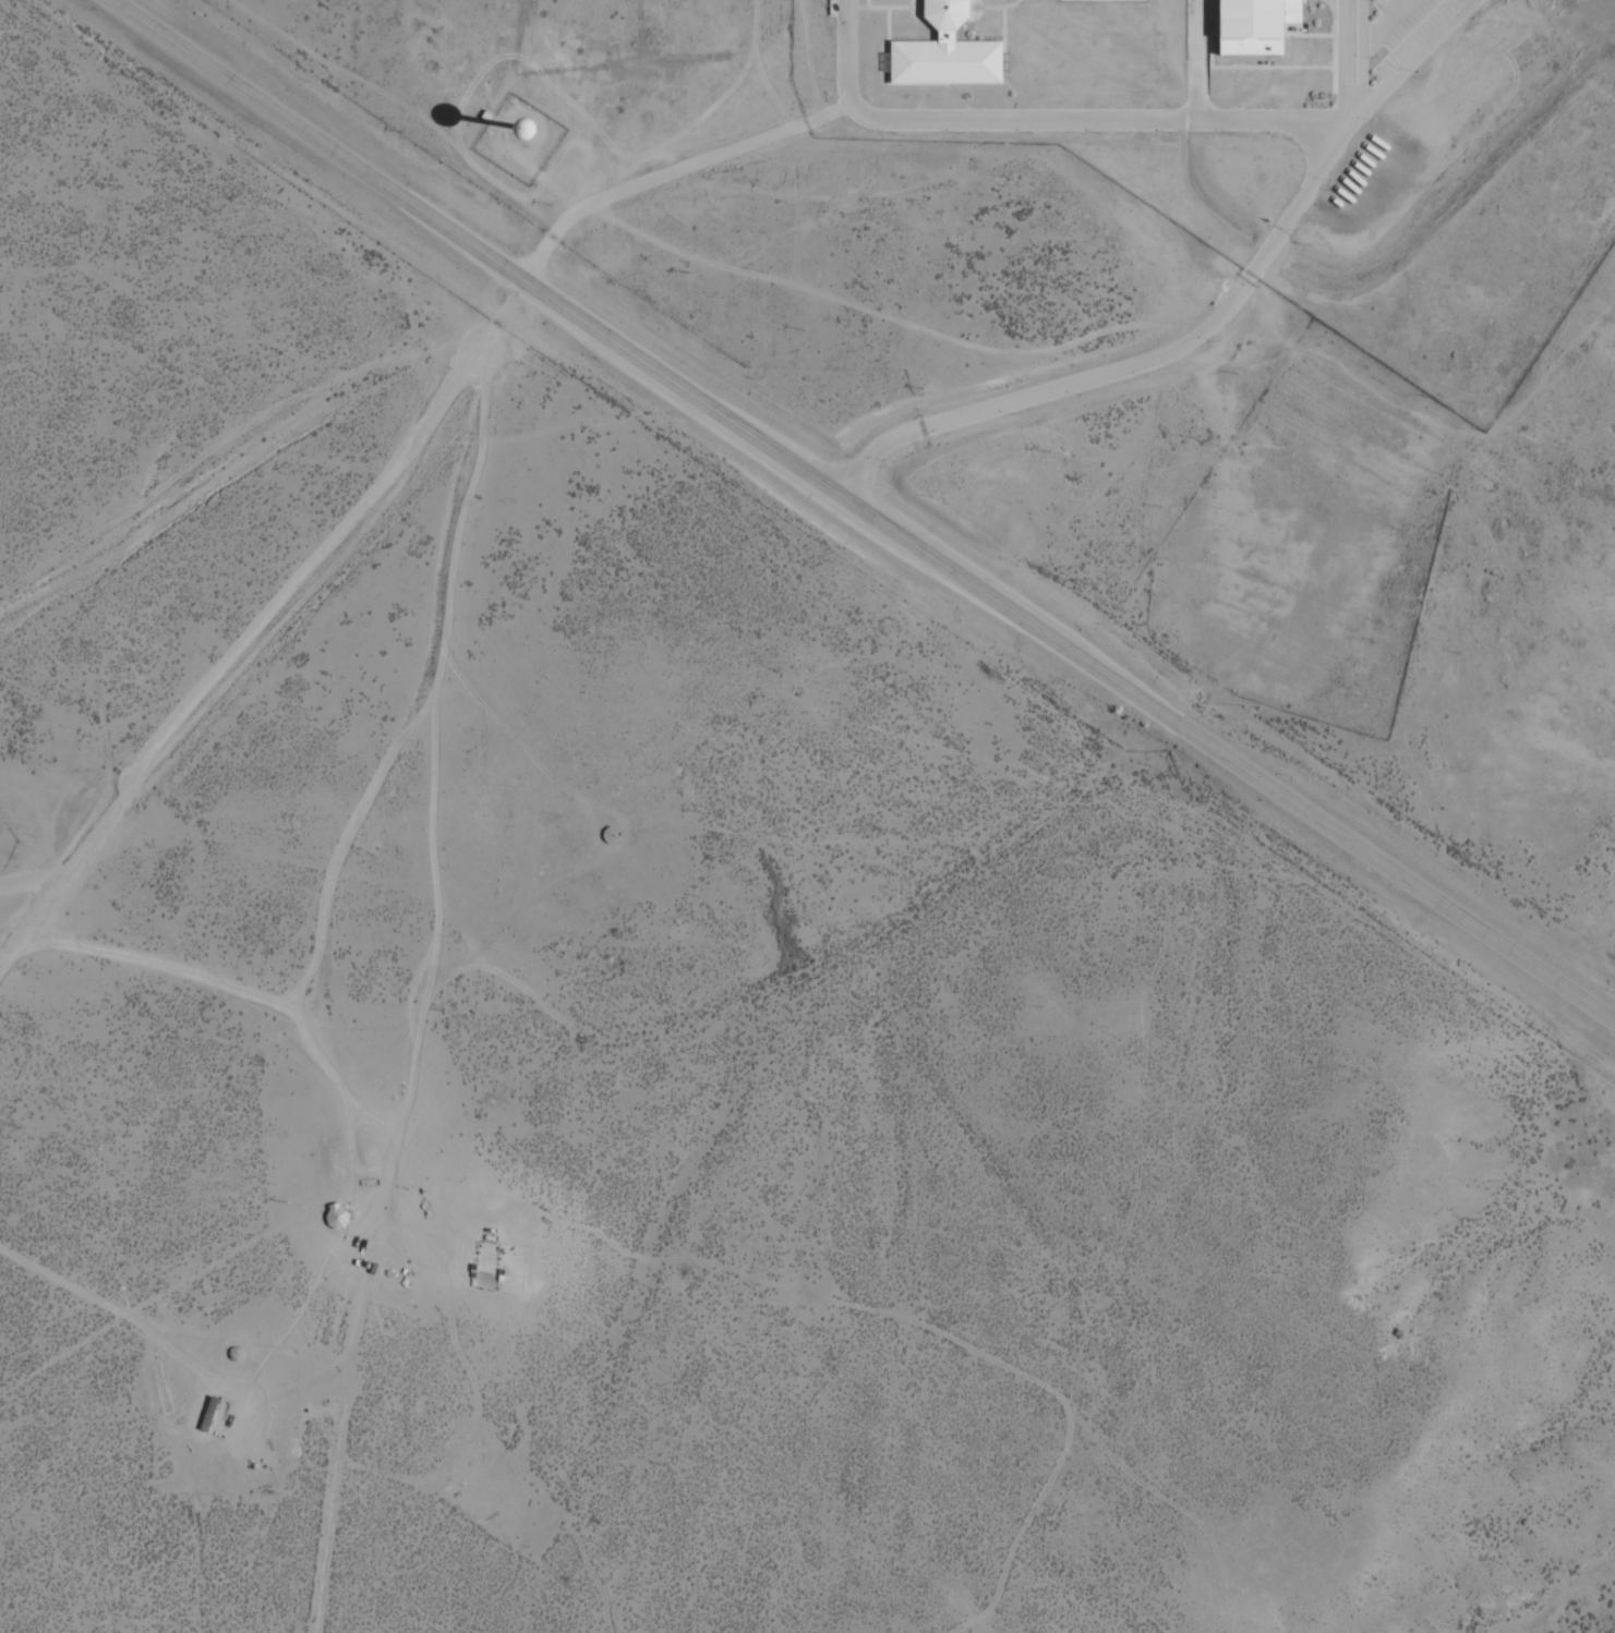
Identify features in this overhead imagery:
building: (938, 15)
building: (1255, 24)
parking lot: (1397, 31)
road: (1351, 62)
road: (1414, 62)
building: (943, 63)
road: (1046, 120)
water tower: (520, 132)
building: (522, 136)
water tower: (522, 136)
road: (667, 169)
road: (1135, 363)
road: (249, 449)
road: (866, 506)
road: (276, 609)
building: (608, 835)
building: (626, 849)
storage tank: (626, 849)
road: (1170, 867)
building: (335, 1215)
road: (158, 1271)
building: (201, 1414)

